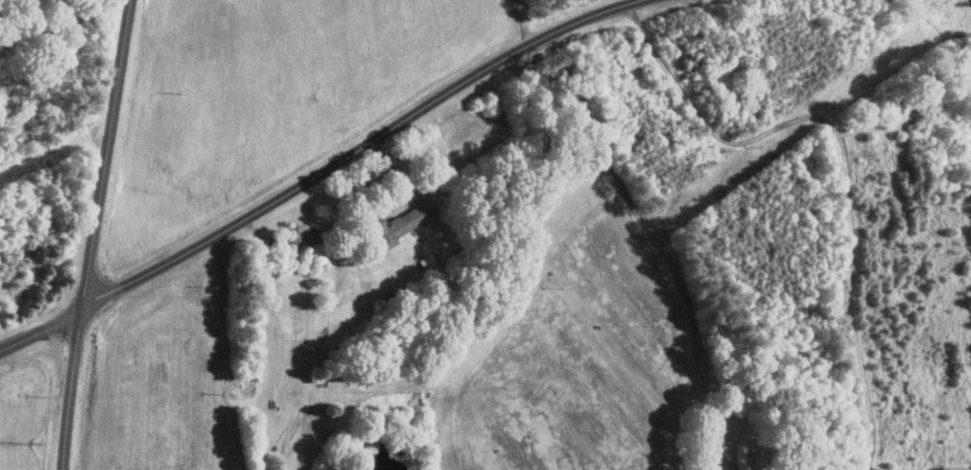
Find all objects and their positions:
road: (326, 170)
building: (398, 224)
road: (99, 234)
building: (300, 235)

